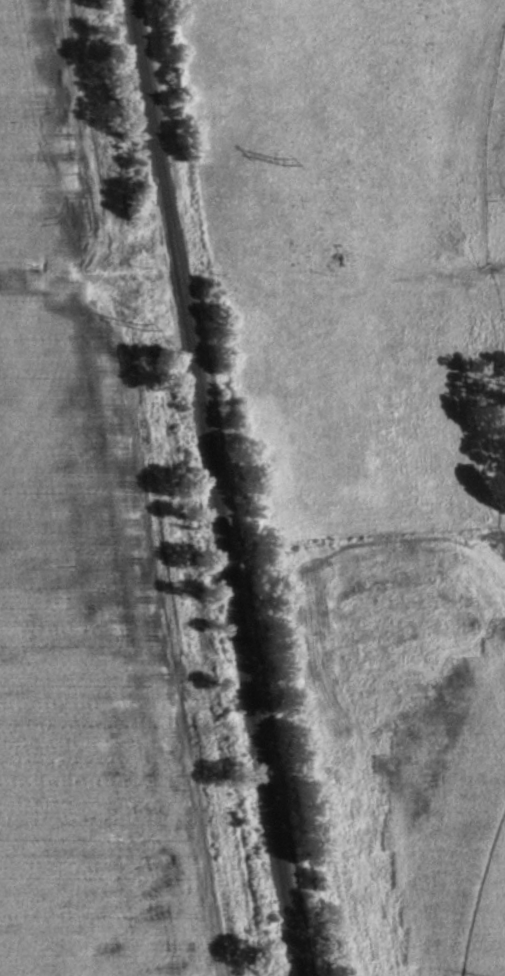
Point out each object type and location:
power tower: (269, 160)
power tower: (132, 322)
railway: (217, 488)

